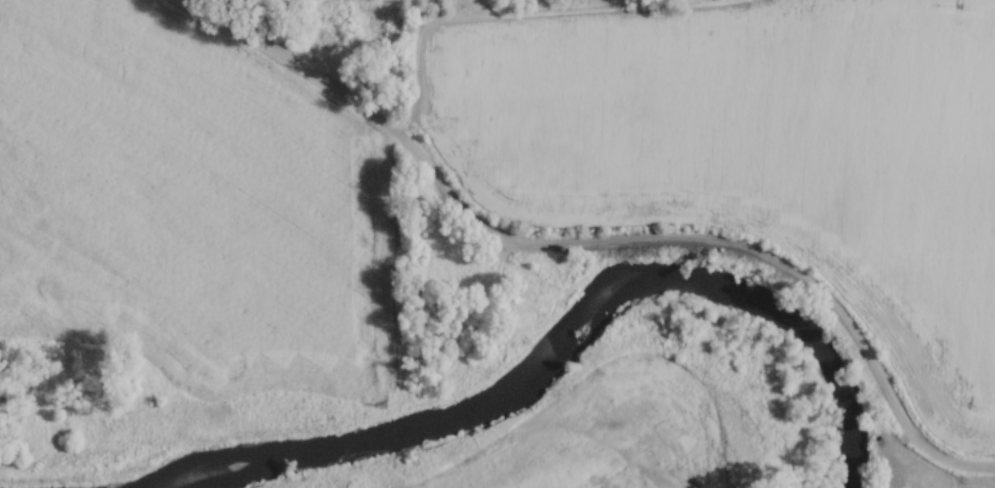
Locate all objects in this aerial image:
road: (522, 20)
road: (596, 250)
river: (563, 323)

